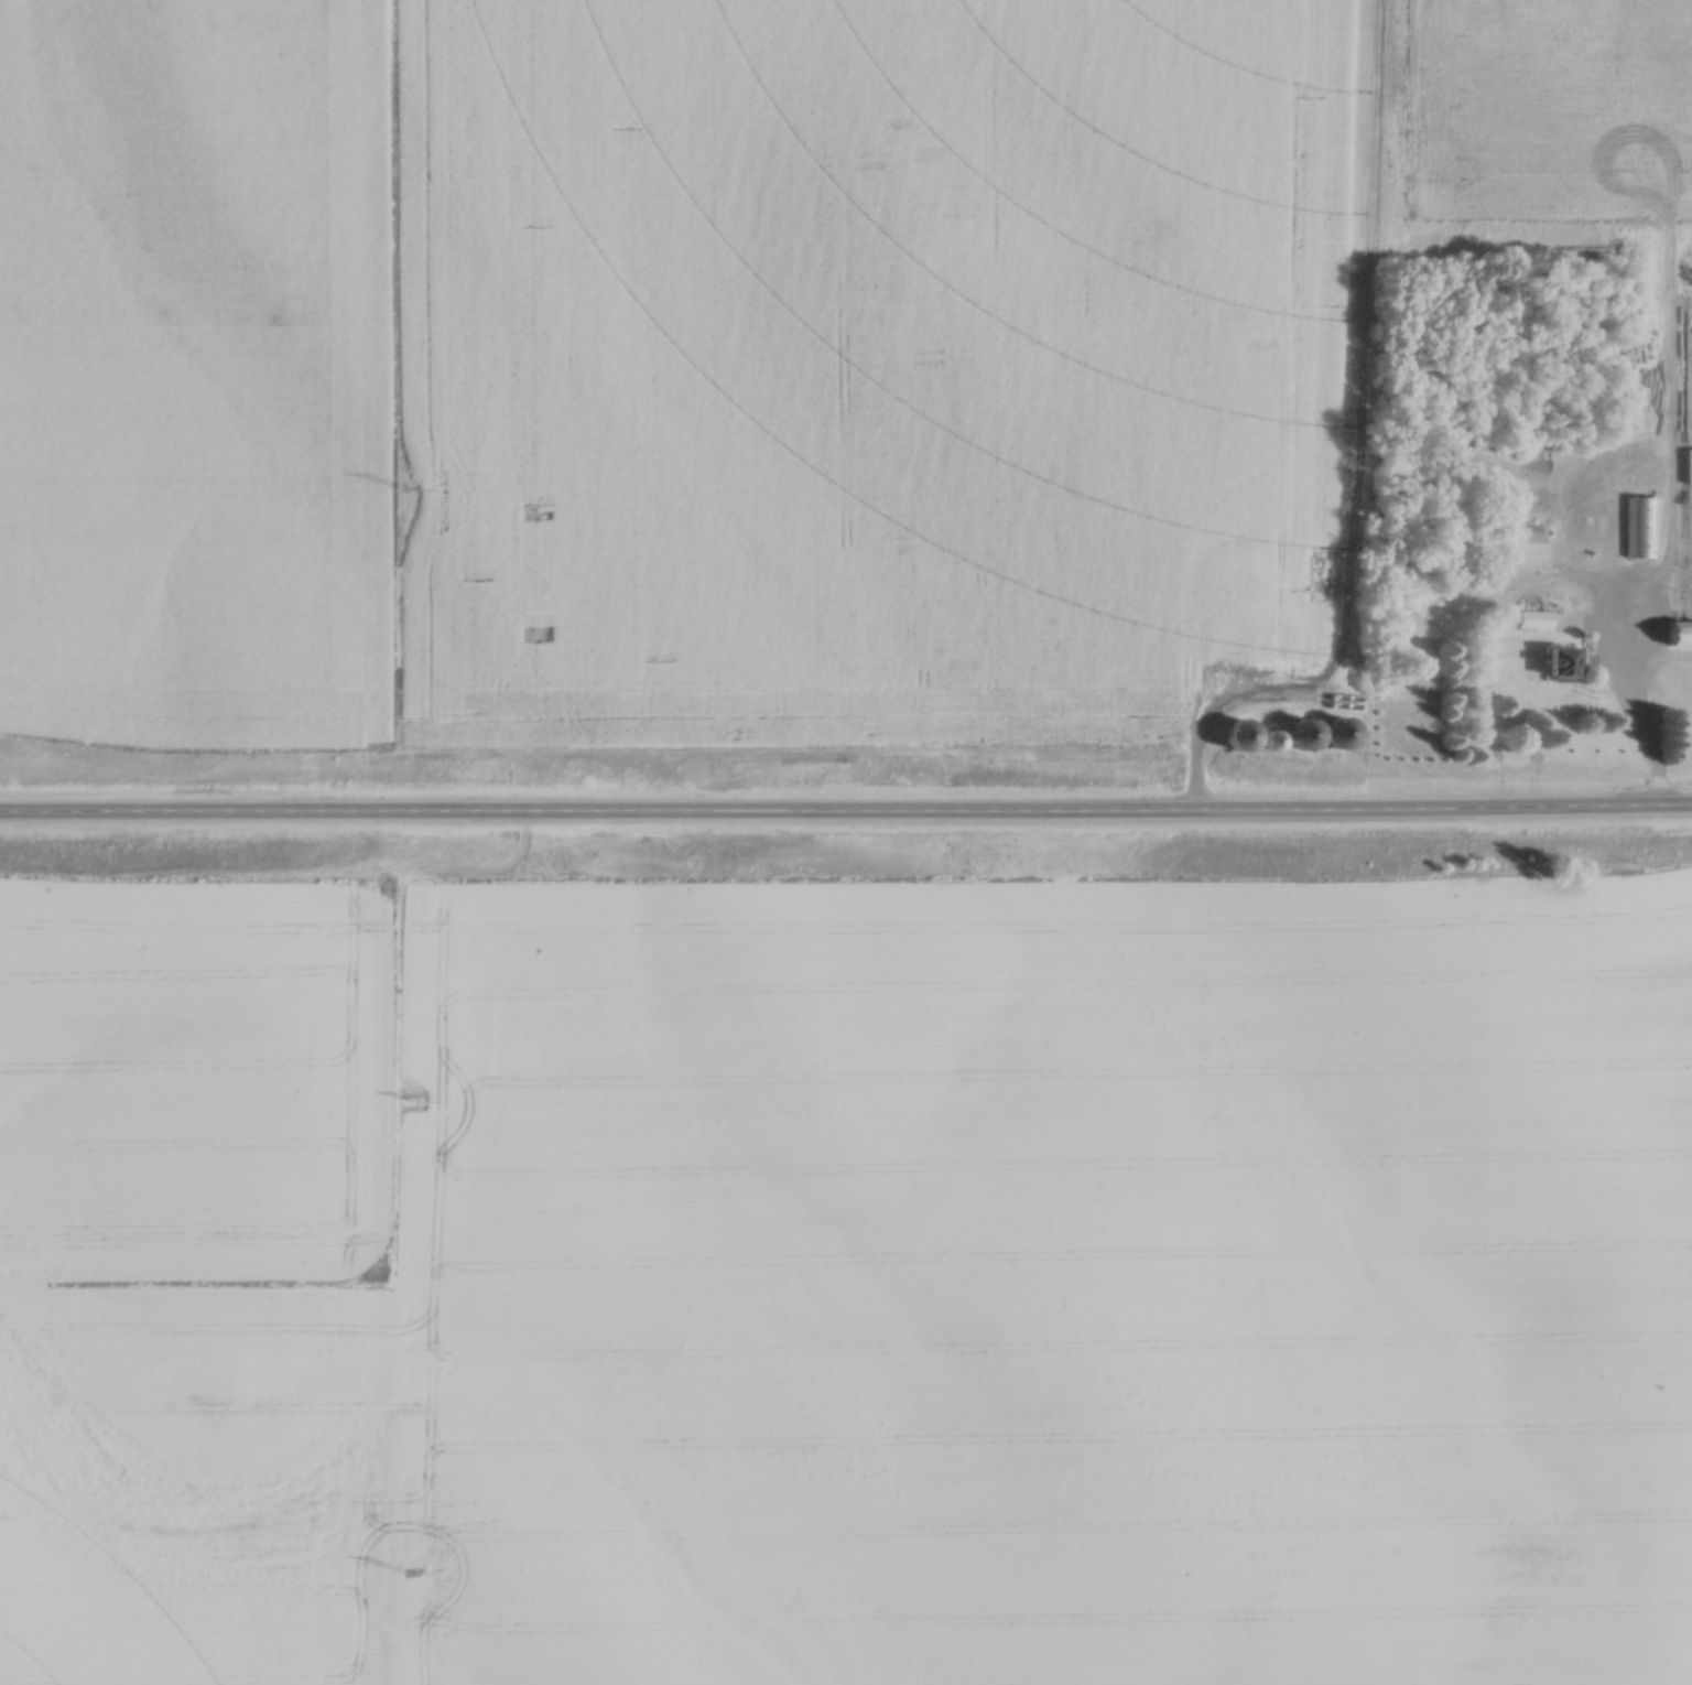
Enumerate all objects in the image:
building: (1688, 466)
power tower: (411, 490)
building: (1641, 528)
road: (1457, 633)
building: (1677, 635)
building: (1560, 662)
building: (1334, 734)
building: (1297, 735)
building: (1270, 741)
road: (846, 818)
power tower: (415, 1102)
power tower: (413, 1574)

